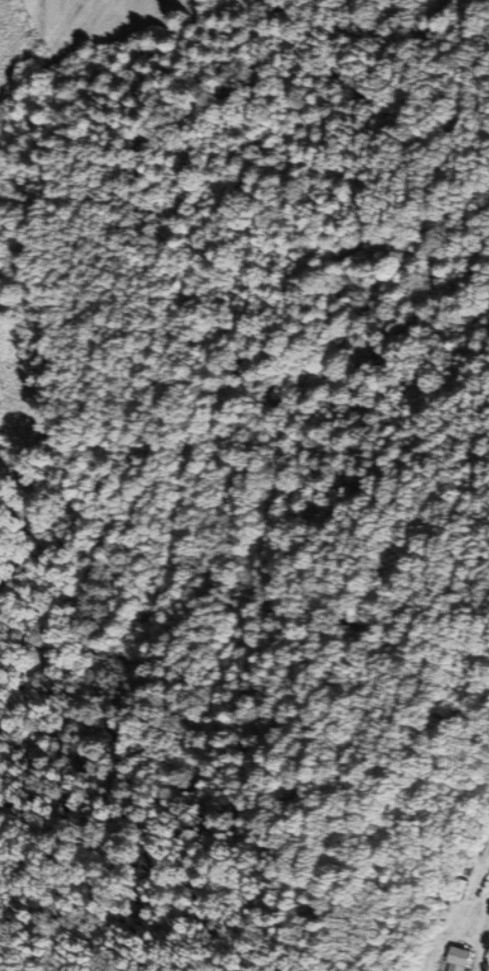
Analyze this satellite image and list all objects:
building: (460, 958)

